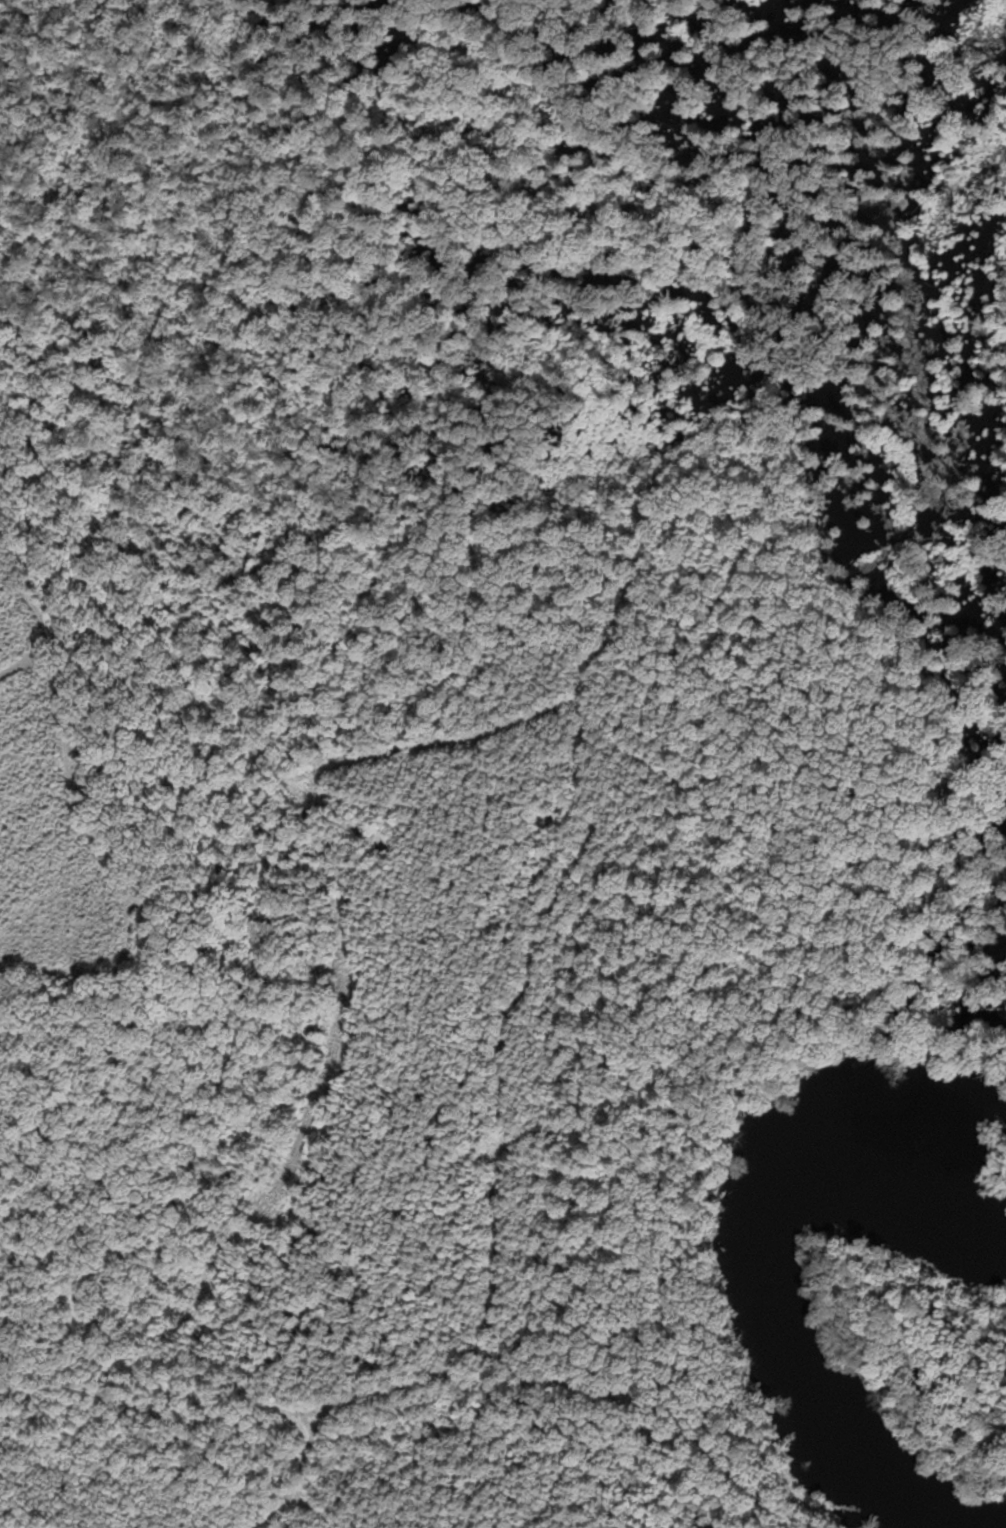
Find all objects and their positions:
river: (808, 1264)

